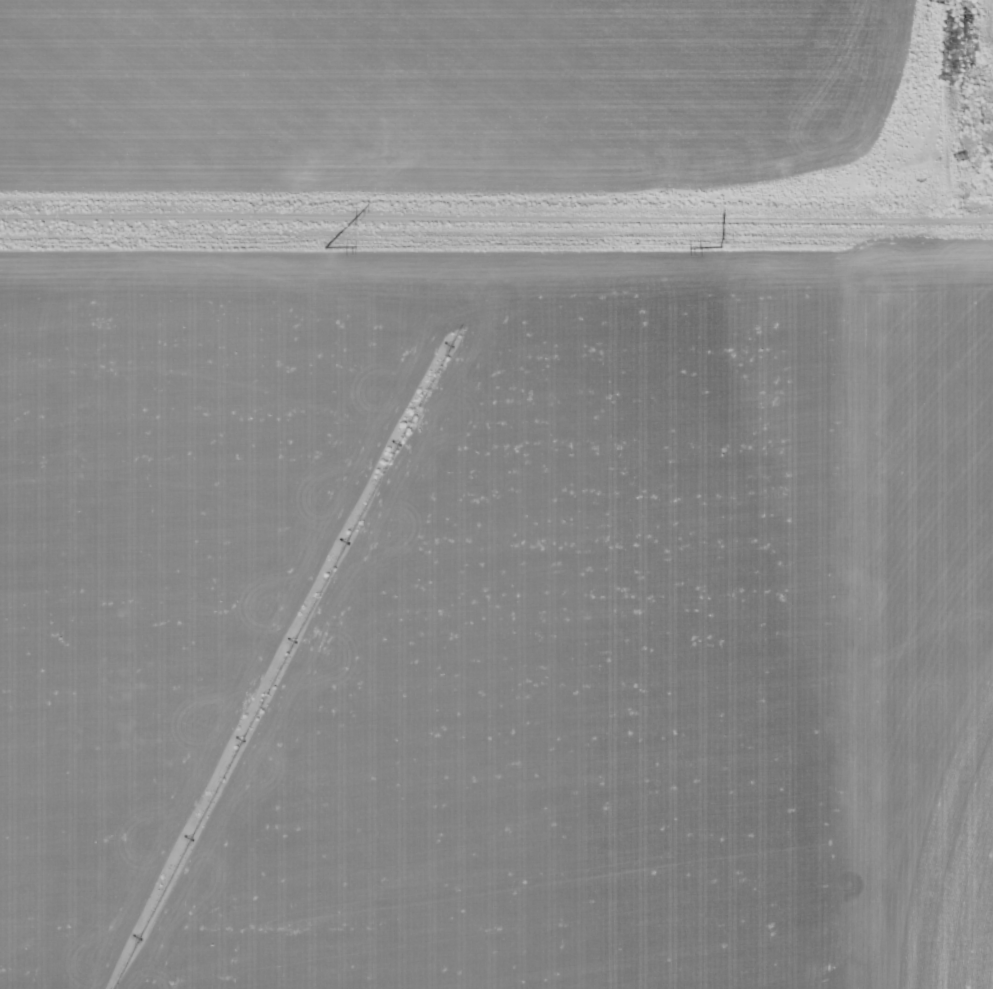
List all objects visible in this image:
road: (496, 222)
road: (790, 609)

